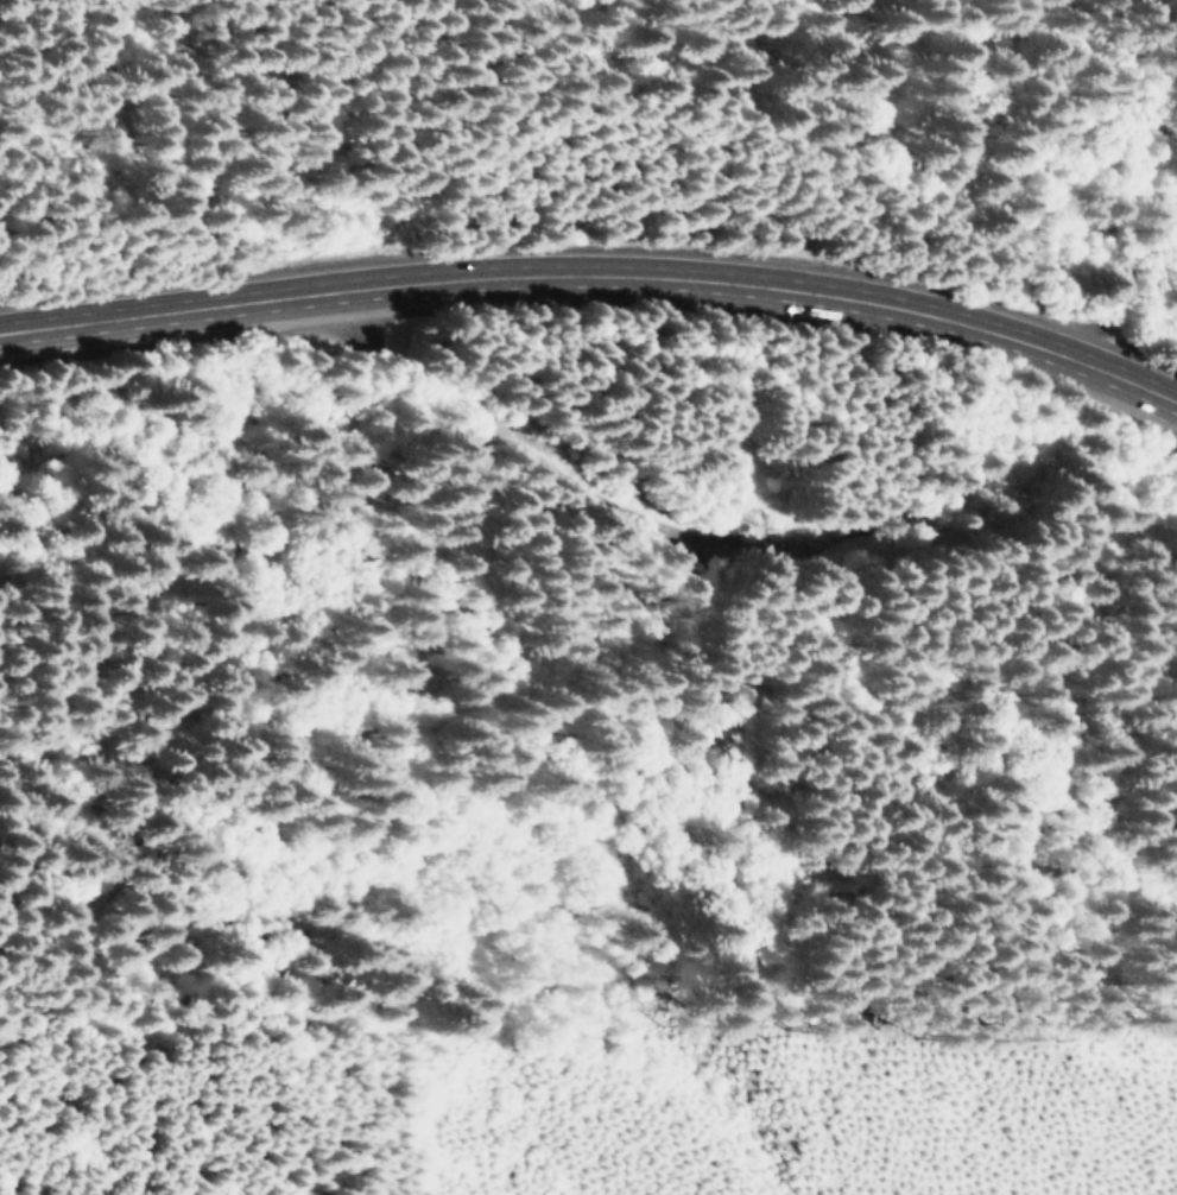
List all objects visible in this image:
road: (595, 272)
road: (499, 451)

